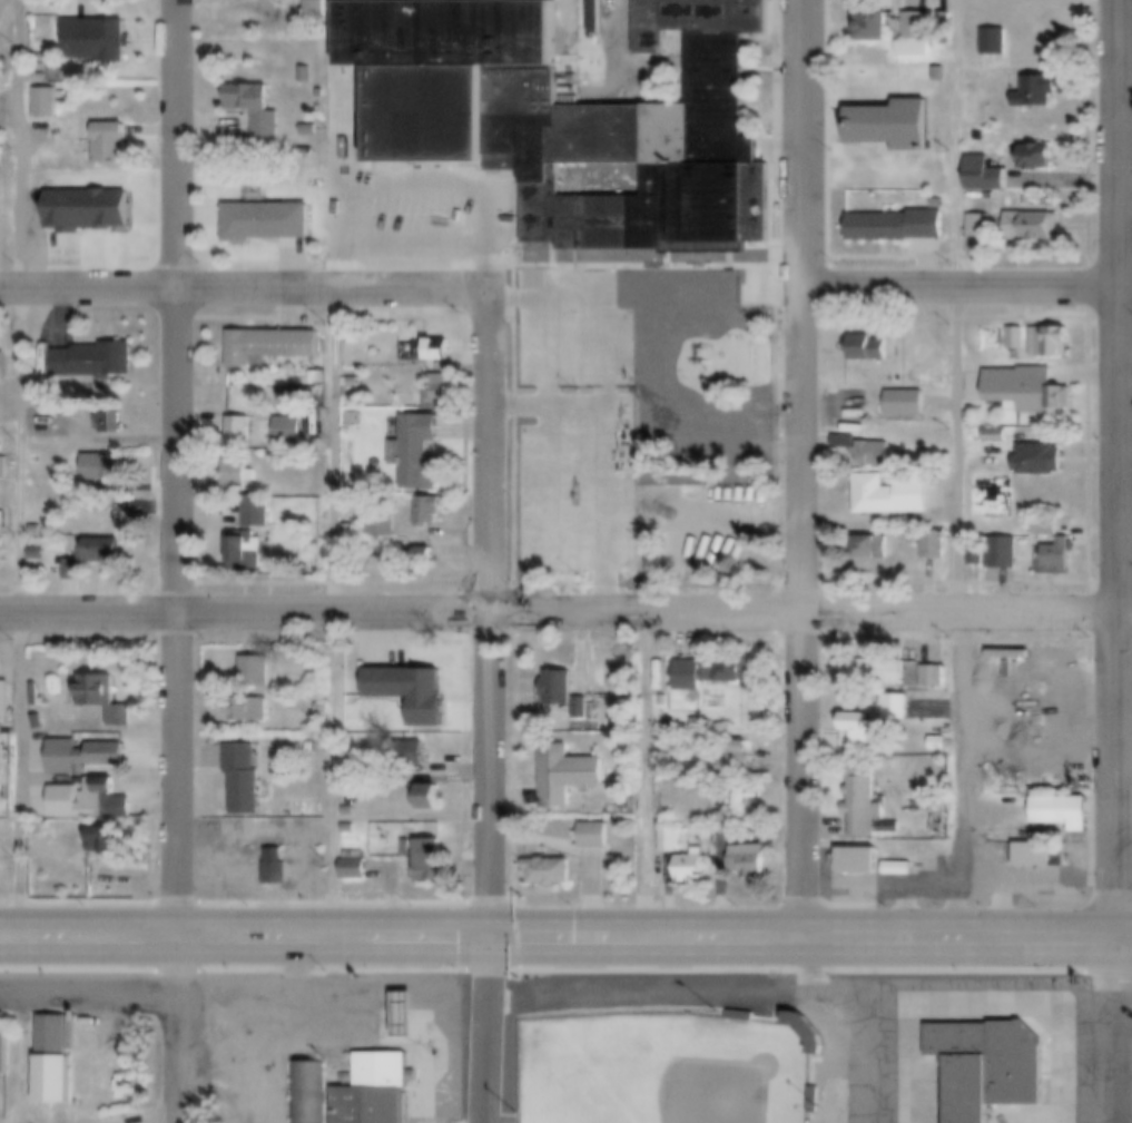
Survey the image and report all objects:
building: (317, 7)
parking lot: (243, 17)
building: (227, 19)
building: (947, 22)
building: (875, 27)
building: (918, 37)
building: (996, 42)
building: (98, 43)
building: (1, 70)
building: (307, 76)
building: (942, 76)
building: (1040, 93)
building: (49, 106)
building: (258, 114)
building: (570, 117)
building: (894, 128)
building: (309, 130)
road: (486, 132)
road: (332, 145)
building: (112, 147)
building: (0, 159)
building: (1039, 159)
building: (986, 175)
building: (939, 204)
building: (394, 210)
building: (95, 217)
building: (268, 224)
building: (982, 226)
building: (39, 227)
building: (898, 227)
building: (1034, 227)
road: (565, 288)
building: (1020, 337)
building: (356, 338)
building: (1053, 344)
building: (548, 345)
building: (870, 346)
building: (273, 347)
building: (726, 351)
building: (922, 351)
building: (440, 353)
building: (97, 361)
building: (3, 367)
building: (575, 376)
building: (318, 377)
building: (353, 382)
building: (1030, 390)
building: (442, 392)
building: (908, 405)
building: (355, 417)
building: (114, 423)
building: (543, 424)
building: (720, 428)
building: (242, 431)
building: (291, 431)
building: (998, 433)
building: (846, 443)
road: (332, 452)
building: (419, 453)
building: (875, 454)
building: (1041, 461)
building: (4, 466)
building: (106, 469)
road: (10, 470)
road: (173, 470)
road: (1118, 470)
building: (240, 471)
road: (801, 471)
road: (956, 471)
building: (893, 498)
building: (705, 509)
building: (257, 510)
building: (430, 511)
building: (3, 520)
building: (39, 530)
building: (384, 531)
building: (353, 532)
building: (538, 544)
building: (710, 546)
building: (936, 546)
building: (873, 550)
building: (106, 551)
building: (37, 552)
building: (248, 552)
building: (1004, 553)
building: (426, 554)
building: (1060, 556)
building: (75, 570)
road: (565, 612)
road: (490, 615)
building: (711, 672)
building: (258, 673)
building: (876, 673)
building: (935, 678)
building: (561, 689)
building: (413, 693)
building: (105, 699)
building: (7, 701)
building: (666, 701)
building: (584, 708)
building: (325, 709)
building: (900, 709)
building: (253, 711)
building: (862, 733)
building: (941, 743)
building: (413, 753)
building: (732, 753)
building: (87, 757)
building: (663, 771)
building: (568, 776)
building: (246, 780)
building: (426, 797)
road: (1125, 797)
building: (92, 802)
building: (867, 805)
building: (352, 812)
building: (1064, 814)
building: (670, 821)
building: (725, 824)
building: (352, 828)
building: (942, 829)
building: (597, 837)
building: (672, 841)
building: (107, 843)
building: (1044, 859)
building: (750, 861)
building: (432, 863)
building: (860, 866)
building: (277, 868)
building: (693, 869)
building: (357, 870)
building: (551, 873)
road: (1125, 939)
road: (559, 942)
road: (1125, 943)
road: (415, 998)
road: (1124, 1004)
building: (407, 1021)
road: (171, 1032)
road: (494, 1032)
road: (1115, 1032)
building: (823, 1038)
road: (874, 1045)
building: (7, 1052)
building: (56, 1064)
park: (669, 1068)
building: (991, 1068)
road: (215, 1090)
building: (312, 1092)
building: (377, 1092)

